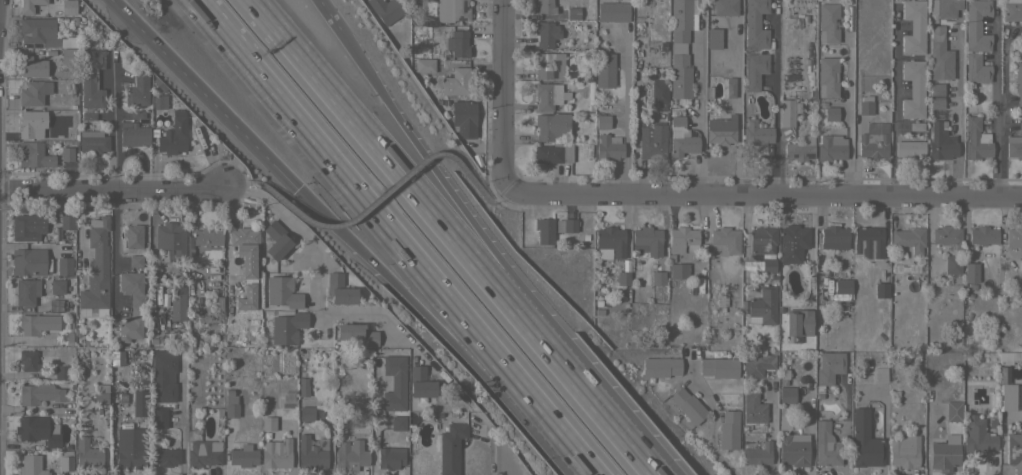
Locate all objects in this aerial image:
building: (28, 6)
building: (67, 6)
building: (544, 6)
building: (725, 7)
building: (945, 7)
building: (386, 9)
building: (440, 11)
building: (612, 11)
building: (1012, 11)
building: (572, 13)
road: (330, 17)
building: (827, 22)
building: (754, 24)
building: (977, 25)
building: (913, 26)
building: (38, 31)
building: (545, 33)
building: (713, 38)
building: (457, 43)
building: (680, 47)
building: (939, 55)
building: (68, 56)
building: (424, 64)
building: (548, 65)
building: (32, 66)
building: (976, 68)
building: (754, 69)
building: (604, 70)
building: (827, 76)
building: (91, 78)
building: (455, 80)
building: (1018, 82)
building: (729, 87)
building: (913, 88)
building: (137, 90)
building: (33, 92)
road: (503, 94)
building: (657, 94)
building: (549, 95)
building: (936, 95)
building: (159, 101)
road: (778, 105)
road: (847, 105)
building: (865, 105)
road: (894, 105)
road: (999, 105)
road: (960, 106)
road: (737, 109)
building: (786, 112)
road: (699, 113)
building: (830, 113)
building: (87, 114)
road: (626, 114)
building: (463, 118)
building: (602, 121)
building: (31, 123)
building: (1020, 124)
building: (550, 125)
building: (915, 126)
building: (721, 130)
building: (756, 133)
building: (133, 134)
building: (173, 134)
building: (680, 138)
building: (652, 140)
building: (873, 140)
building: (976, 140)
building: (92, 141)
building: (940, 141)
building: (1014, 146)
building: (608, 147)
building: (831, 148)
building: (909, 148)
building: (800, 149)
building: (66, 153)
building: (553, 153)
building: (32, 155)
road: (393, 162)
road: (441, 177)
road: (116, 180)
road: (475, 184)
road: (244, 185)
road: (764, 195)
road: (273, 209)
road: (356, 217)
building: (565, 225)
building: (27, 226)
building: (62, 226)
road: (387, 230)
building: (544, 230)
road: (344, 232)
building: (982, 235)
building: (133, 236)
building: (947, 236)
building: (1013, 236)
building: (170, 237)
building: (206, 237)
building: (833, 237)
building: (242, 238)
building: (645, 238)
building: (908, 238)
building: (682, 239)
building: (276, 240)
building: (723, 241)
building: (868, 241)
building: (609, 242)
building: (792, 243)
road: (810, 248)
building: (761, 249)
building: (135, 261)
building: (28, 262)
building: (248, 264)
building: (951, 264)
building: (1021, 265)
building: (64, 266)
building: (231, 267)
building: (678, 270)
building: (95, 271)
building: (971, 272)
building: (623, 273)
building: (657, 277)
building: (57, 285)
building: (842, 286)
building: (338, 289)
building: (880, 289)
building: (26, 291)
building: (282, 292)
building: (247, 297)
building: (177, 301)
building: (131, 306)
building: (762, 306)
building: (798, 322)
building: (37, 323)
building: (287, 327)
building: (356, 333)
building: (27, 360)
building: (756, 364)
building: (828, 366)
building: (660, 367)
building: (718, 367)
building: (61, 372)
building: (878, 373)
building: (163, 377)
building: (420, 382)
building: (394, 383)
building: (1004, 385)
building: (302, 386)
building: (1019, 387)
building: (38, 393)
building: (786, 394)
building: (100, 397)
road: (593, 399)
building: (139, 402)
building: (360, 404)
building: (953, 404)
building: (687, 405)
building: (753, 408)
building: (1021, 408)
building: (1003, 409)
building: (231, 410)
building: (306, 413)
building: (159, 417)
road: (181, 418)
building: (267, 418)
building: (397, 422)
building: (784, 423)
road: (771, 425)
road: (712, 426)
road: (373, 427)
road: (845, 429)
building: (36, 430)
building: (728, 430)
building: (977, 435)
building: (863, 441)
building: (450, 444)
building: (825, 445)
building: (130, 448)
building: (793, 449)
building: (1014, 450)
building: (275, 451)
building: (903, 451)
building: (86, 453)
building: (203, 453)
building: (312, 453)
building: (945, 453)
building: (243, 455)
building: (350, 455)
building: (756, 455)
building: (164, 456)
building: (390, 457)
building: (65, 460)
building: (30, 465)
road: (586, 467)

